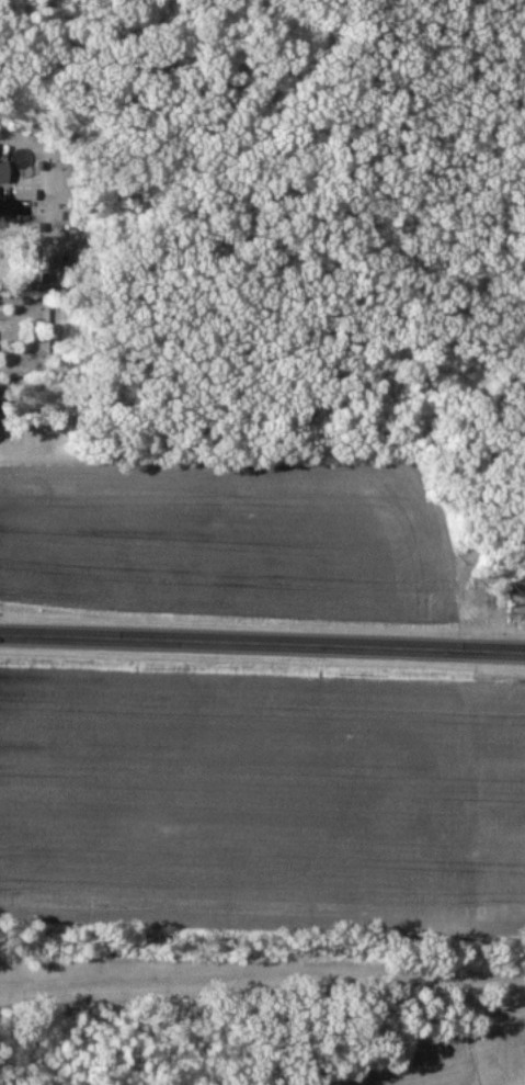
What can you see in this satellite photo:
building: (5, 169)
road: (262, 643)

